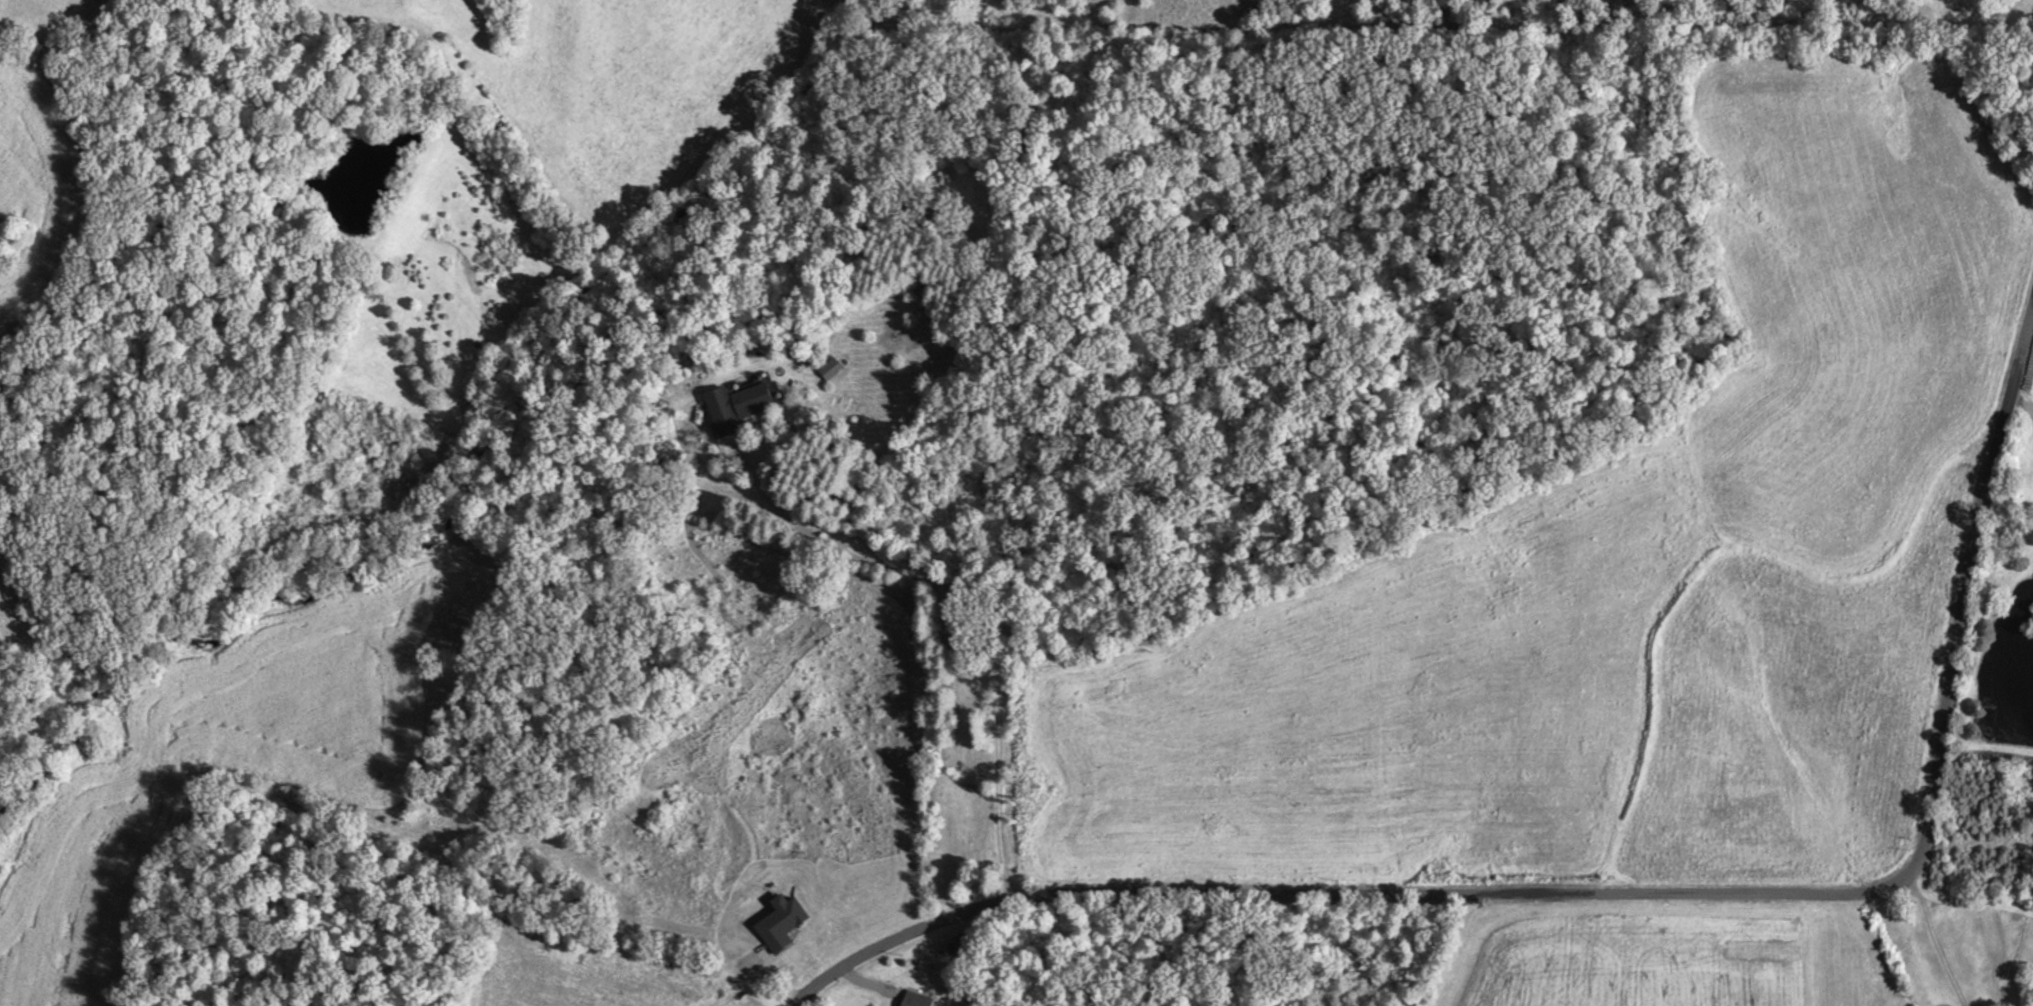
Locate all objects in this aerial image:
building: (829, 368)
building: (753, 400)
road: (370, 845)
road: (1629, 894)
road: (1935, 939)
building: (920, 999)

